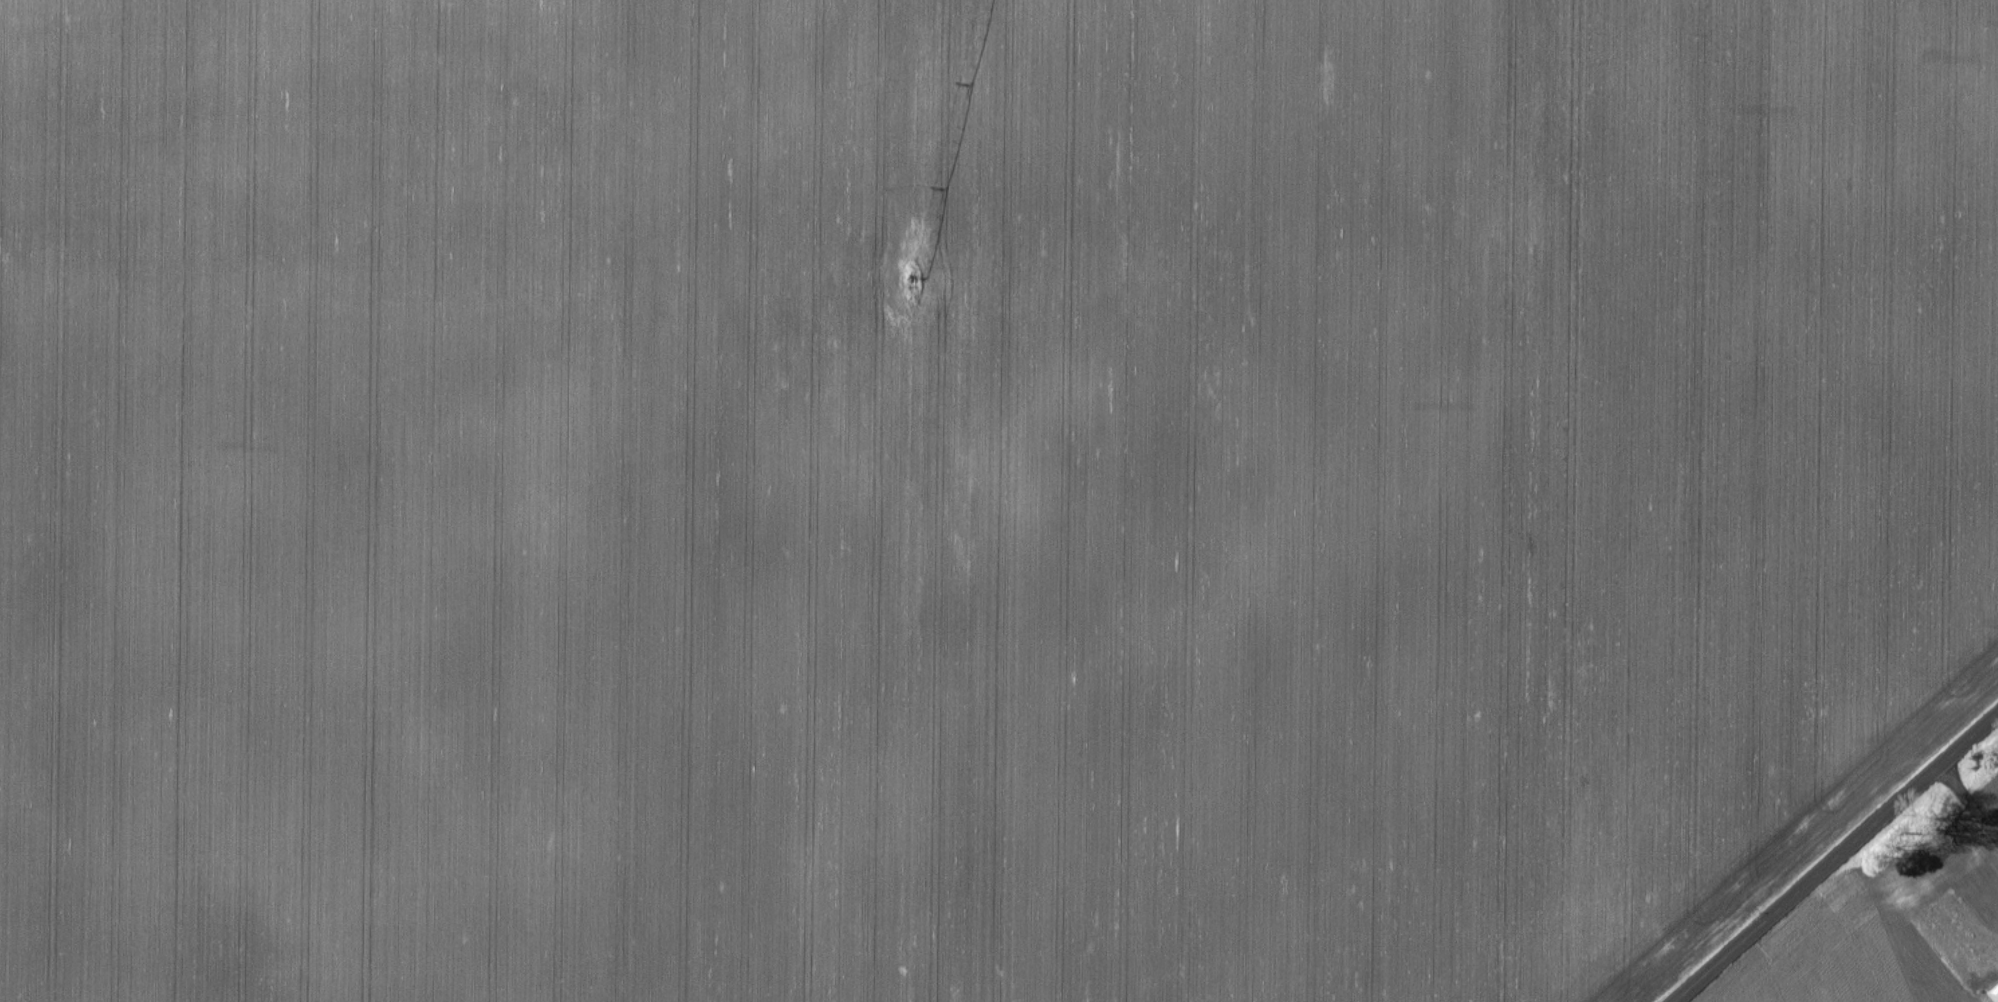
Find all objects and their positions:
road: (1836, 858)

